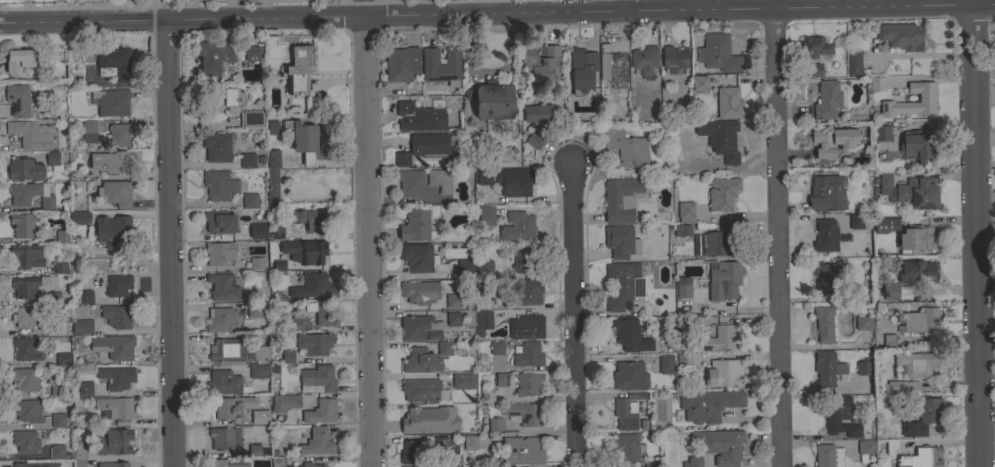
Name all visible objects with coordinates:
road: (626, 5)
road: (497, 11)
building: (901, 36)
building: (814, 47)
building: (252, 53)
building: (718, 53)
building: (213, 56)
building: (583, 57)
building: (427, 59)
building: (644, 59)
building: (674, 59)
building: (451, 60)
building: (19, 61)
building: (853, 62)
building: (114, 63)
building: (401, 63)
building: (540, 63)
building: (612, 65)
building: (814, 70)
road: (488, 71)
building: (299, 72)
building: (699, 83)
building: (877, 83)
building: (926, 97)
building: (17, 99)
building: (227, 99)
building: (495, 100)
building: (826, 100)
building: (112, 102)
building: (727, 103)
building: (542, 114)
building: (423, 117)
building: (251, 118)
building: (89, 131)
building: (31, 133)
building: (119, 135)
building: (881, 136)
building: (307, 139)
building: (535, 139)
building: (720, 139)
building: (832, 141)
road: (985, 141)
building: (429, 144)
building: (218, 146)
building: (624, 146)
building: (915, 146)
building: (402, 158)
building: (247, 160)
building: (53, 161)
building: (110, 161)
road: (985, 165)
building: (24, 169)
building: (272, 176)
building: (484, 176)
building: (440, 179)
building: (514, 181)
building: (410, 182)
building: (219, 184)
building: (883, 185)
building: (115, 193)
building: (722, 193)
building: (825, 193)
building: (918, 193)
building: (30, 194)
building: (621, 198)
building: (250, 200)
building: (685, 212)
building: (486, 216)
building: (79, 217)
building: (305, 217)
building: (220, 221)
building: (856, 221)
building: (22, 225)
building: (415, 225)
building: (885, 225)
building: (517, 226)
building: (680, 229)
building: (113, 230)
building: (257, 230)
building: (276, 232)
road: (365, 233)
building: (825, 235)
building: (62, 236)
road: (977, 236)
road: (780, 237)
building: (916, 240)
road: (167, 241)
building: (621, 241)
building: (712, 245)
building: (305, 251)
building: (219, 253)
building: (26, 256)
building: (417, 257)
building: (521, 259)
building: (257, 262)
building: (279, 264)
building: (465, 266)
building: (60, 267)
building: (485, 268)
building: (917, 272)
building: (726, 277)
building: (827, 278)
building: (620, 284)
building: (27, 285)
building: (118, 285)
building: (315, 286)
building: (222, 287)
building: (486, 287)
building: (683, 288)
building: (419, 291)
building: (528, 291)
building: (890, 291)
building: (856, 295)
building: (82, 296)
building: (52, 298)
building: (452, 300)
building: (254, 310)
building: (78, 311)
building: (322, 312)
building: (29, 316)
building: (117, 316)
road: (572, 316)
building: (456, 318)
building: (688, 318)
building: (221, 319)
building: (484, 320)
building: (921, 320)
building: (863, 322)
building: (294, 323)
building: (824, 323)
building: (81, 326)
building: (526, 327)
building: (420, 328)
building: (630, 335)
building: (722, 338)
building: (889, 339)
building: (314, 343)
building: (113, 346)
building: (497, 347)
building: (26, 348)
building: (444, 348)
building: (228, 350)
building: (261, 353)
building: (528, 354)
building: (288, 357)
building: (62, 359)
building: (687, 359)
building: (421, 361)
building: (666, 364)
building: (917, 364)
building: (827, 368)
building: (862, 368)
building: (258, 371)
building: (724, 373)
building: (630, 375)
building: (116, 377)
building: (318, 377)
building: (501, 379)
building: (24, 380)
building: (463, 380)
building: (223, 382)
building: (528, 383)
building: (907, 386)
building: (84, 388)
building: (58, 389)
building: (421, 390)
park: (993, 397)
building: (284, 402)
building: (708, 404)
building: (230, 405)
building: (627, 407)
building: (116, 408)
building: (26, 410)
building: (322, 411)
building: (526, 413)
building: (927, 415)
building: (839, 416)
building: (254, 417)
building: (59, 420)
building: (430, 420)
building: (495, 424)
building: (222, 437)
building: (25, 441)
building: (317, 441)
building: (114, 442)
building: (470, 442)
building: (444, 445)
building: (721, 445)
building: (890, 446)
building: (627, 448)
building: (865, 449)
building: (254, 450)
building: (57, 451)
building: (410, 452)
building: (524, 452)
building: (79, 455)
building: (828, 456)
building: (926, 457)
building: (278, 462)
building: (693, 462)
building: (651, 463)
building: (35, 464)
building: (113, 464)
building: (227, 464)
building: (311, 465)
building: (455, 466)
building: (538, 466)

